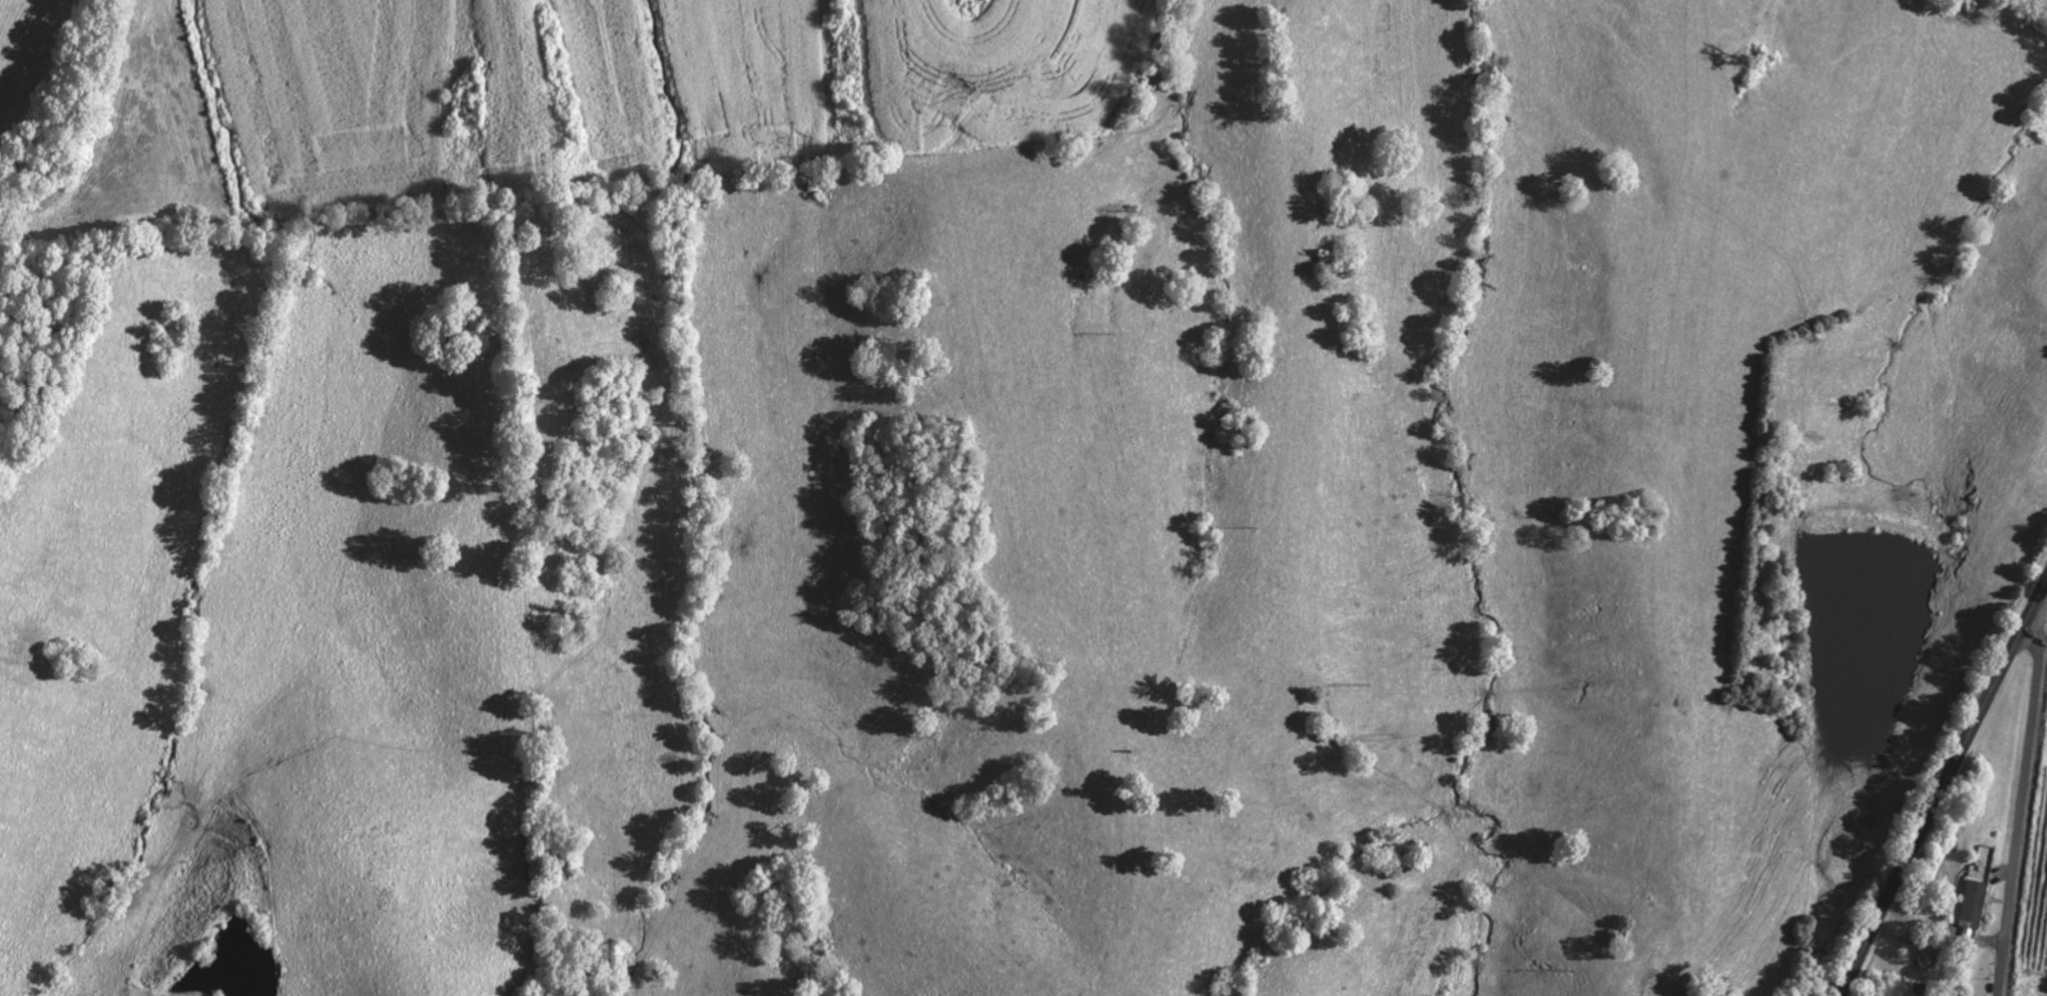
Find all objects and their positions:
road: (1943, 788)
road: (2021, 795)
building: (1972, 906)

